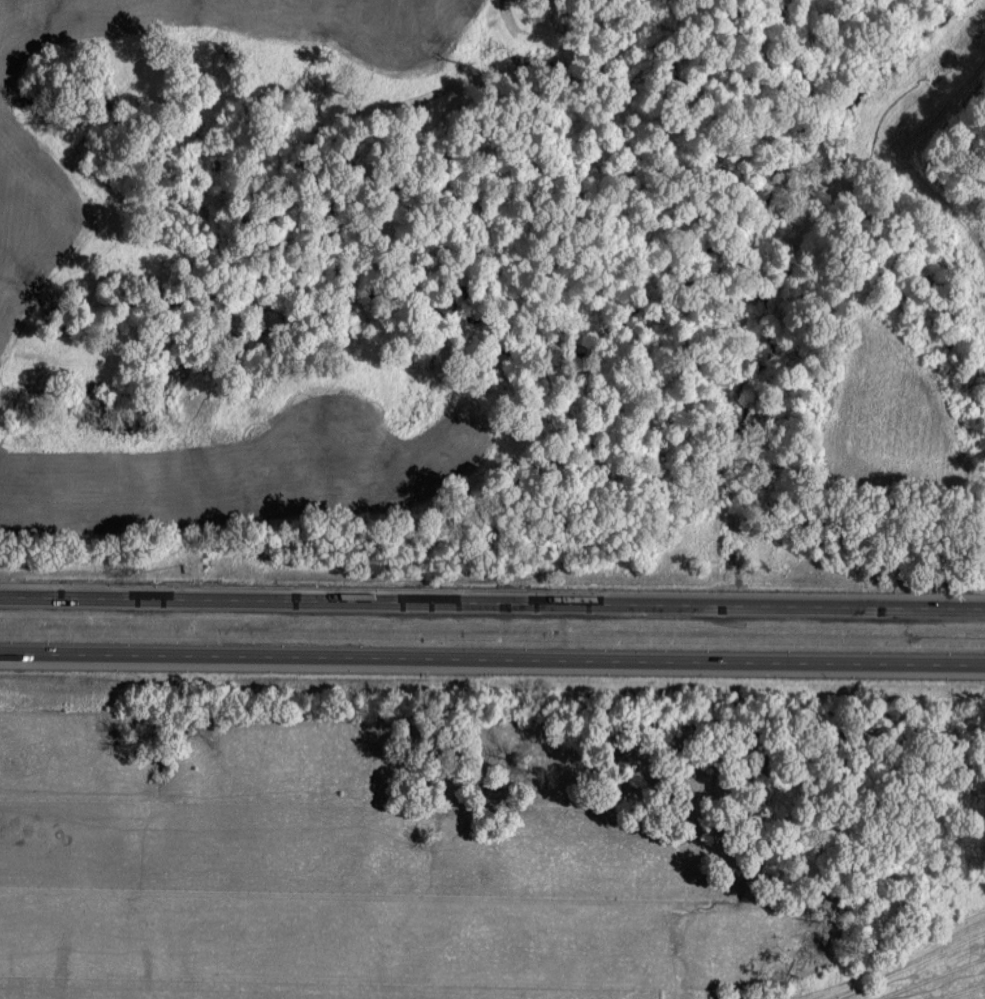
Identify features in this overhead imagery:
road: (492, 599)
road: (492, 657)

